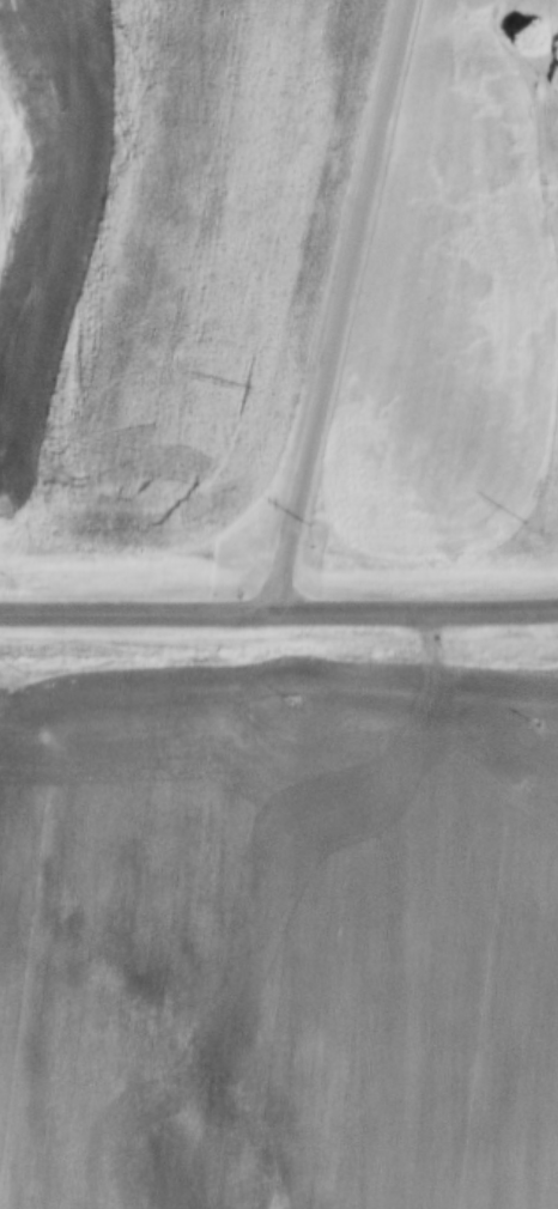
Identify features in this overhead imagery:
road: (344, 305)
road: (279, 613)

